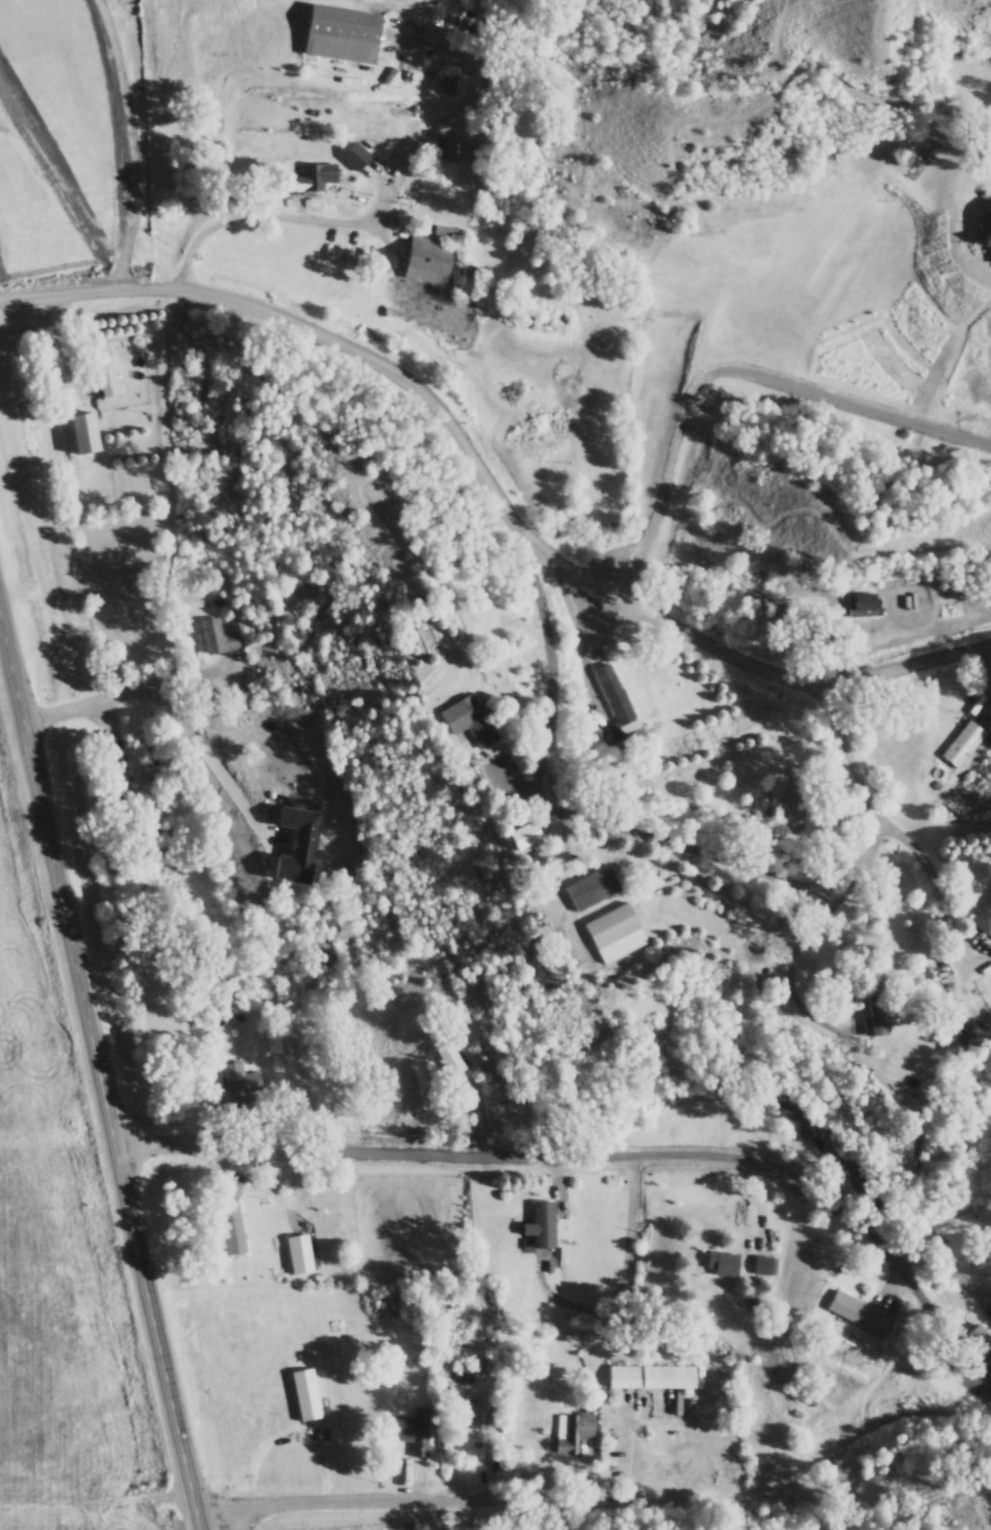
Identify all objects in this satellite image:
building: (345, 32)
building: (452, 147)
building: (357, 155)
building: (315, 176)
road: (378, 207)
building: (989, 227)
building: (450, 231)
building: (430, 259)
building: (472, 281)
road: (734, 372)
building: (107, 375)
road: (487, 490)
building: (867, 600)
building: (219, 637)
road: (548, 690)
road: (109, 697)
building: (615, 698)
road: (242, 716)
building: (474, 721)
building: (963, 742)
road: (637, 743)
building: (263, 746)
building: (139, 766)
road: (890, 827)
building: (528, 835)
building: (594, 887)
building: (984, 916)
building: (617, 931)
road: (807, 933)
building: (326, 951)
building: (880, 1014)
road: (102, 1057)
building: (452, 1058)
building: (240, 1081)
building: (803, 1121)
road: (529, 1153)
building: (543, 1223)
building: (236, 1224)
building: (300, 1252)
building: (729, 1262)
building: (763, 1263)
road: (951, 1272)
building: (380, 1303)
building: (861, 1311)
building: (468, 1364)
building: (653, 1376)
building: (311, 1389)
building: (479, 1412)
building: (412, 1426)
building: (573, 1432)
building: (431, 1456)
road: (412, 1501)
park: (658, 1511)
road: (203, 1526)

